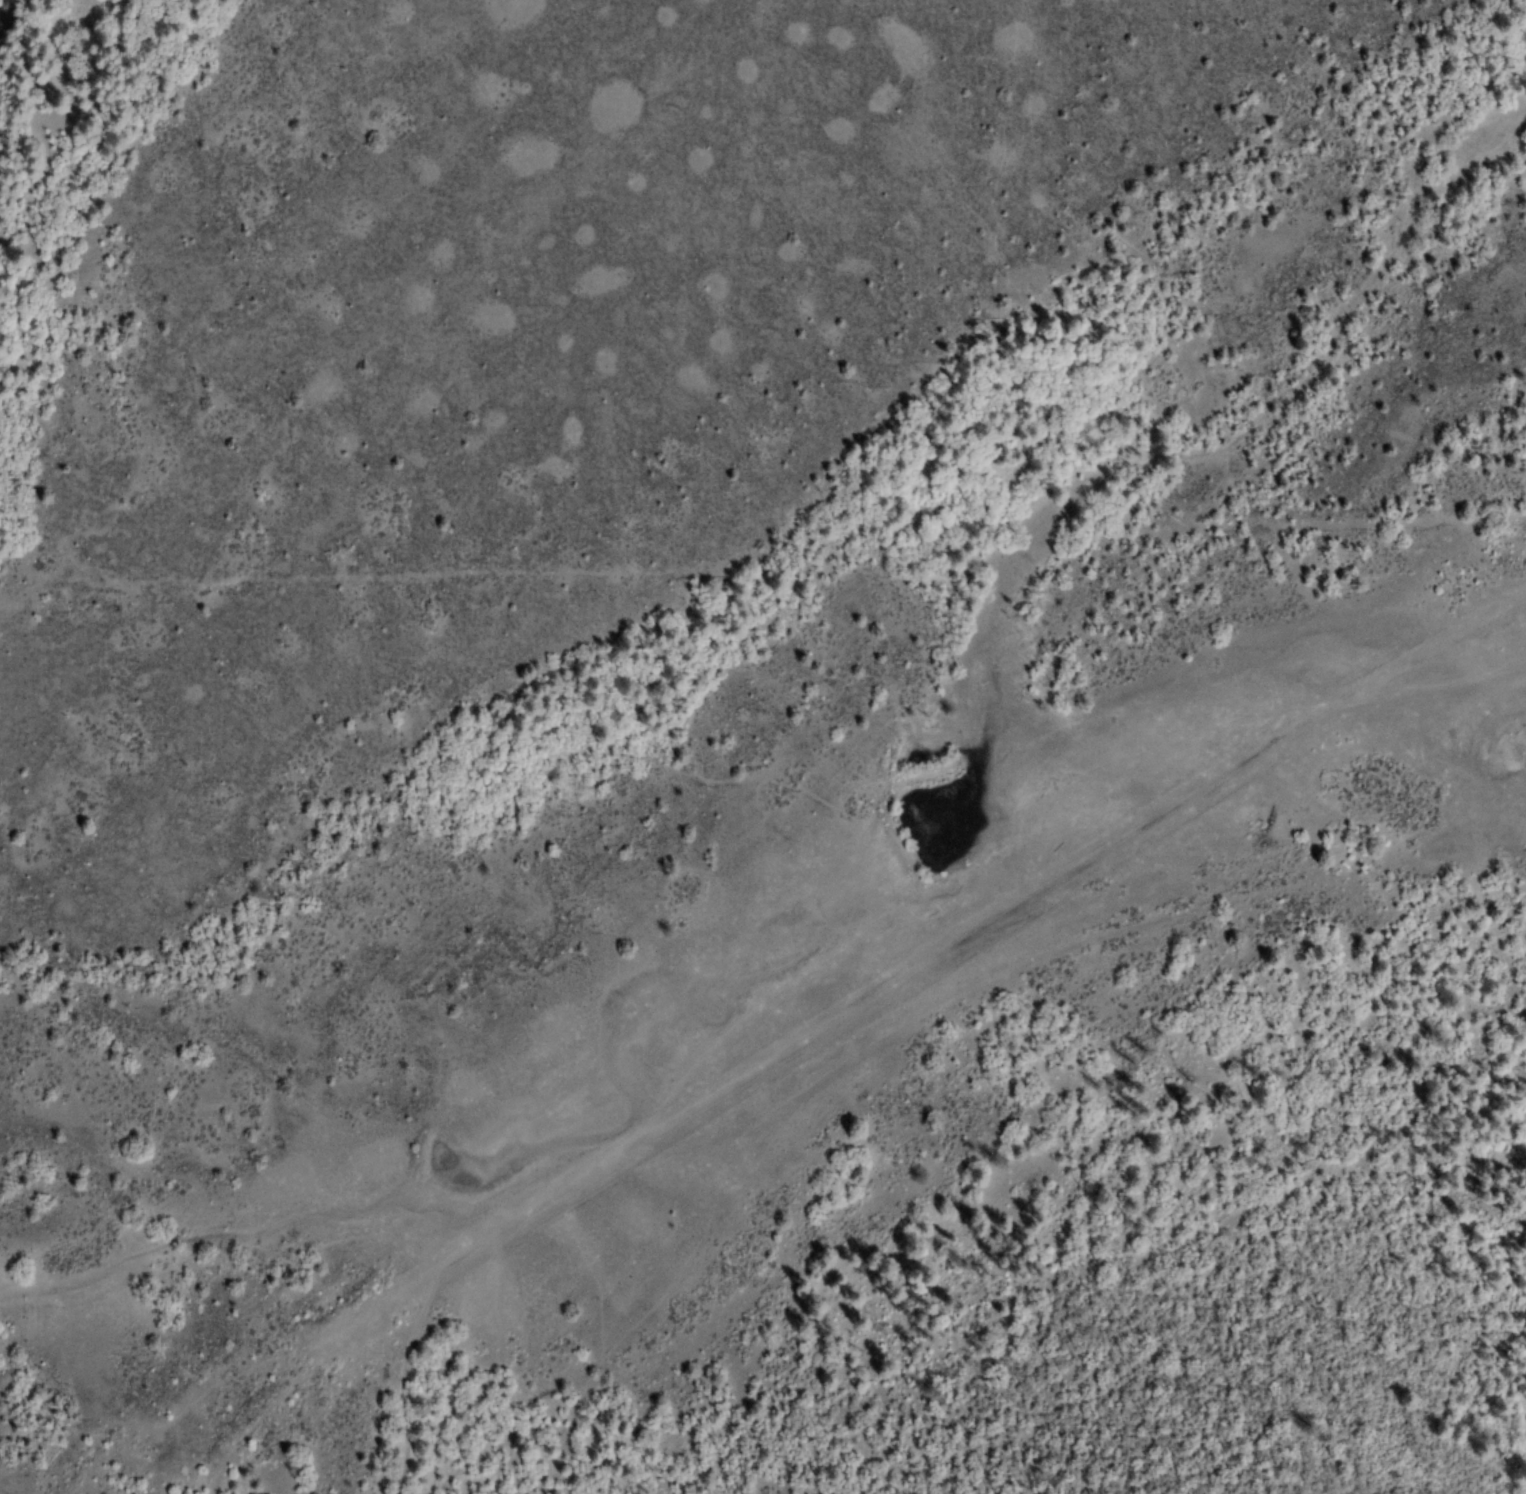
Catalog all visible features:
road: (12, 14)

